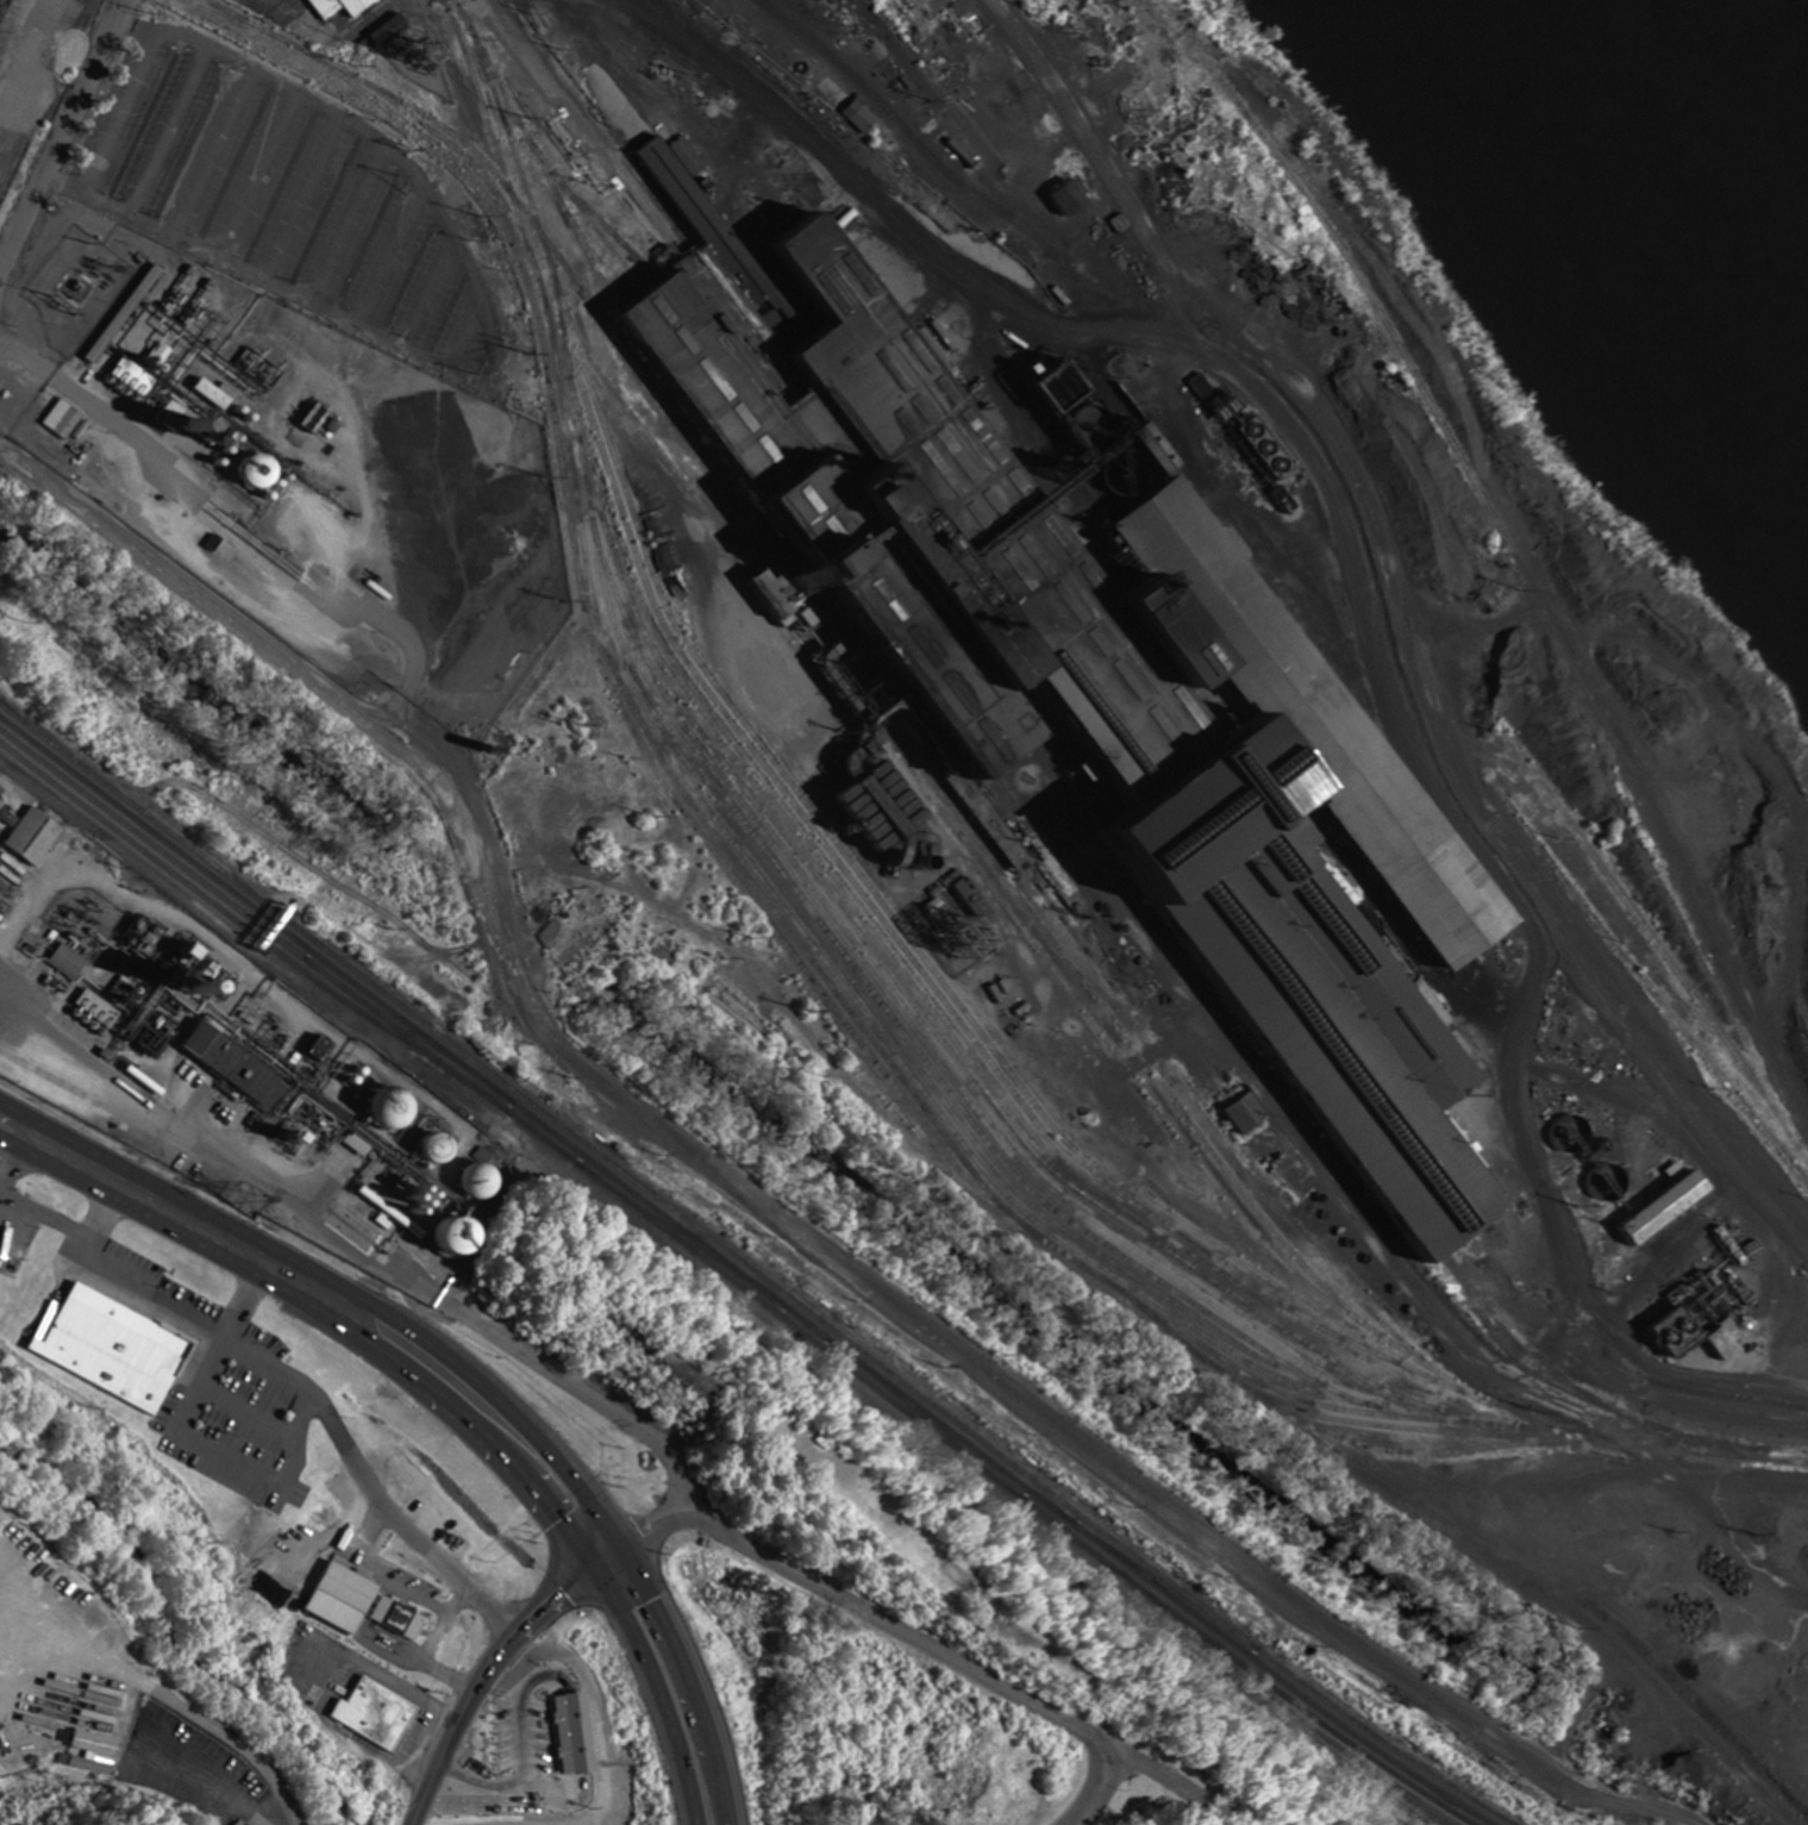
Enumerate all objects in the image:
building: (339, 7)
railway: (236, 21)
road: (450, 54)
railway: (842, 58)
road: (27, 63)
road: (121, 104)
road: (167, 126)
road: (61, 131)
road: (214, 149)
railway: (502, 155)
railway: (552, 163)
road: (1081, 163)
road: (259, 173)
road: (304, 194)
parking lot: (294, 201)
railway: (569, 211)
road: (345, 220)
railway: (617, 233)
road: (392, 254)
railway: (643, 256)
railway: (595, 257)
road: (267, 280)
road: (425, 287)
road: (468, 330)
railway: (553, 411)
building: (62, 418)
railway: (702, 454)
railway: (1507, 548)
railway: (749, 580)
road: (1353, 625)
railway: (858, 651)
building: (1089, 673)
railway: (12, 708)
railway: (12, 710)
road: (332, 711)
railway: (820, 820)
building: (33, 835)
railway: (151, 842)
railway: (732, 857)
railway: (1619, 889)
railway: (776, 895)
railway: (1676, 901)
railway: (871, 904)
railway: (255, 907)
railway: (250, 930)
railway: (1612, 943)
building: (69, 958)
railway: (894, 960)
railway: (864, 963)
railway: (856, 968)
railway: (1086, 986)
railway: (407, 1029)
railway: (405, 1033)
railway: (968, 1082)
railway: (1150, 1096)
building: (1246, 1113)
railway: (958, 1120)
railway: (540, 1136)
road: (14, 1169)
power tower: (248, 1199)
railway: (647, 1202)
building: (1669, 1206)
road: (45, 1211)
road: (95, 1225)
railway: (680, 1233)
railway: (1070, 1257)
railway: (1353, 1275)
railway: (767, 1279)
road: (340, 1282)
road: (379, 1283)
railway: (1193, 1302)
road: (238, 1305)
road: (323, 1317)
railway: (806, 1320)
railway: (796, 1329)
building: (1725, 1340)
building: (112, 1345)
road: (519, 1349)
railway: (1507, 1350)
railway: (1566, 1382)
road: (325, 1411)
railway: (922, 1415)
railway: (1415, 1427)
road: (1091, 1442)
railway: (1418, 1451)
traffic signals: (621, 1544)
traffic signals: (590, 1565)
railway: (1519, 1567)
railway: (1158, 1579)
railway: (1158, 1586)
building: (359, 1602)
road: (908, 1629)
road: (490, 1664)
railway: (1246, 1665)
road: (688, 1679)
road: (652, 1689)
railway: (1277, 1701)
building: (374, 1712)
building: (556, 1740)
road: (1168, 1782)

